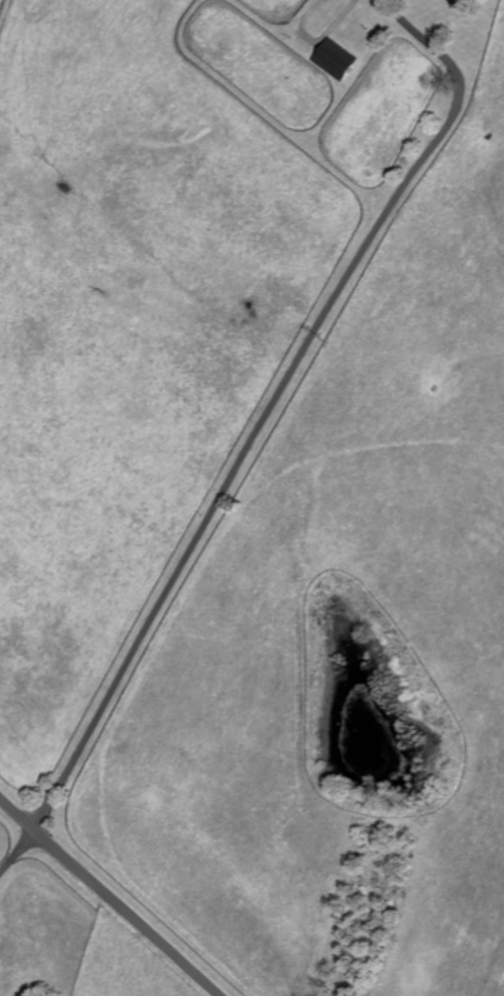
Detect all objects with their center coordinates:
building: (460, 2)
building: (336, 58)
road: (273, 405)
road: (17, 852)
road: (110, 896)

